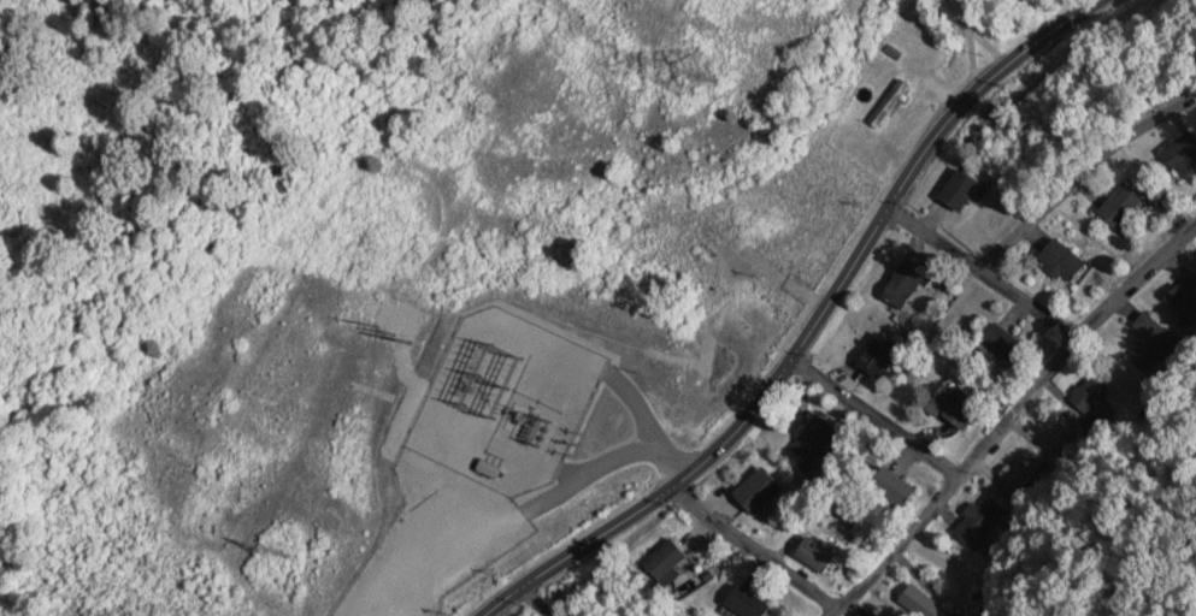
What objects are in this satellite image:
power tower: (685, 72)
building: (888, 105)
building: (1182, 154)
road: (923, 156)
road: (1076, 189)
building: (956, 190)
building: (1120, 207)
building: (709, 244)
building: (1060, 259)
road: (984, 269)
building: (901, 285)
building: (1184, 295)
building: (1153, 326)
building: (998, 342)
building: (876, 355)
building: (952, 407)
road: (1008, 416)
road: (877, 417)
building: (1073, 423)
building: (812, 439)
building: (1024, 475)
road: (671, 488)
building: (890, 488)
building: (756, 491)
building: (979, 521)
road: (755, 549)
power tower: (266, 553)
building: (814, 555)
building: (666, 562)
road: (506, 602)
road: (541, 602)
building: (746, 603)

